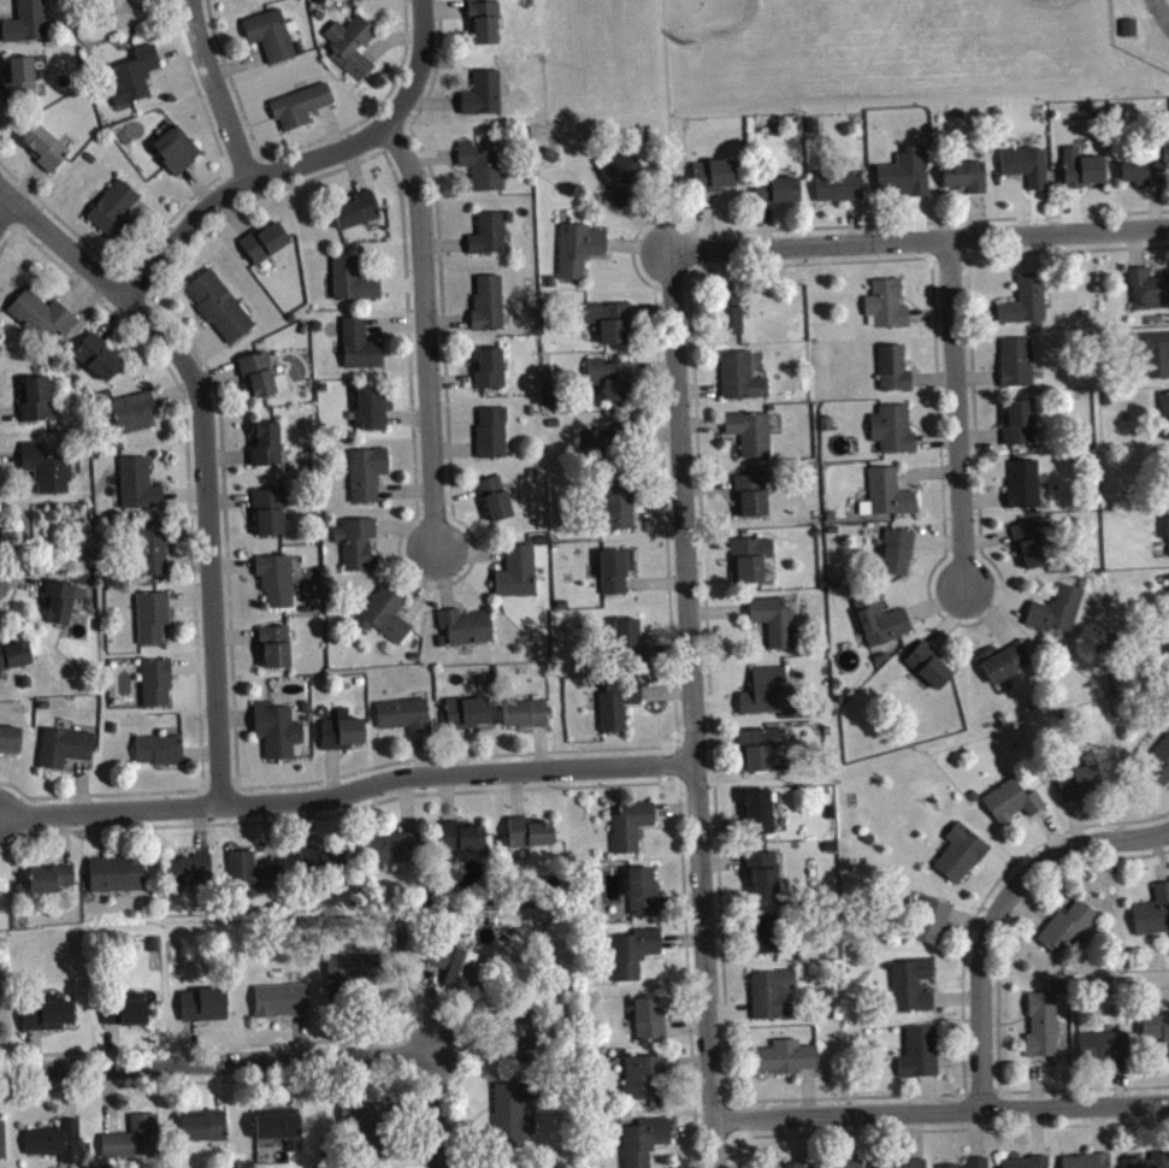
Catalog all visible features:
park: (946, 1)
track: (1159, 13)
park: (721, 14)
building: (126, 17)
building: (29, 26)
building: (486, 28)
building: (271, 42)
building: (354, 52)
road: (419, 67)
building: (135, 83)
building: (23, 85)
road: (217, 92)
building: (485, 101)
building: (301, 113)
road: (669, 128)
building: (47, 154)
building: (178, 157)
building: (1028, 172)
building: (484, 173)
building: (1147, 175)
building: (1082, 177)
building: (907, 181)
building: (622, 182)
building: (708, 183)
building: (967, 183)
road: (240, 188)
building: (840, 191)
building: (779, 197)
road: (6, 216)
building: (116, 217)
building: (359, 217)
building: (491, 240)
road: (922, 240)
building: (267, 248)
building: (580, 255)
building: (354, 287)
building: (1149, 294)
building: (1027, 308)
building: (490, 309)
building: (888, 311)
building: (222, 313)
building: (731, 318)
building: (43, 323)
building: (612, 328)
road: (430, 337)
building: (361, 352)
building: (1153, 360)
building: (99, 364)
building: (1017, 368)
building: (491, 376)
building: (896, 376)
building: (260, 382)
building: (612, 384)
building: (743, 384)
building: (37, 406)
road: (956, 411)
building: (373, 417)
building: (136, 420)
building: (1165, 420)
building: (1020, 430)
building: (895, 436)
building: (494, 440)
building: (752, 440)
building: (268, 450)
building: (601, 452)
road: (207, 455)
building: (47, 476)
building: (368, 480)
building: (1026, 490)
building: (141, 491)
building: (891, 500)
building: (752, 502)
building: (497, 505)
building: (271, 518)
building: (620, 518)
building: (1168, 529)
building: (359, 550)
building: (1033, 550)
building: (153, 556)
building: (899, 559)
building: (752, 566)
building: (616, 578)
building: (519, 579)
building: (278, 586)
building: (63, 608)
building: (1058, 617)
building: (386, 623)
building: (154, 624)
building: (882, 627)
building: (775, 629)
building: (467, 633)
building: (631, 648)
building: (277, 654)
building: (16, 662)
building: (1005, 668)
building: (931, 673)
building: (158, 690)
building: (766, 698)
building: (620, 710)
road: (696, 712)
building: (470, 719)
building: (526, 720)
building: (406, 721)
building: (279, 737)
building: (344, 738)
building: (11, 747)
building: (67, 754)
building: (761, 755)
building: (160, 757)
building: (1159, 771)
building: (1081, 790)
road: (349, 794)
building: (1014, 808)
building: (761, 818)
building: (632, 832)
building: (531, 839)
building: (462, 844)
building: (395, 855)
building: (962, 861)
building: (324, 867)
building: (191, 877)
building: (764, 879)
building: (118, 881)
building: (254, 881)
building: (52, 886)
building: (645, 898)
road: (1004, 913)
building: (1153, 920)
building: (932, 928)
building: (1069, 936)
building: (769, 940)
building: (636, 960)
building: (454, 969)
building: (353, 980)
building: (913, 992)
building: (1059, 993)
building: (774, 1002)
building: (282, 1007)
building: (206, 1011)
building: (129, 1017)
building: (48, 1022)
building: (651, 1025)
building: (1156, 1032)
building: (1044, 1033)
building: (526, 1043)
building: (1106, 1054)
building: (921, 1060)
building: (789, 1064)
road: (219, 1067)
building: (645, 1084)
road: (940, 1109)
road: (441, 1111)
building: (515, 1120)
building: (279, 1133)
building: (206, 1134)
building: (368, 1134)
building: (135, 1145)
building: (647, 1145)
building: (4, 1148)
building: (58, 1148)
building: (1087, 1164)
building: (1152, 1164)
building: (979, 1166)
building: (1028, 1166)
building: (907, 1167)

